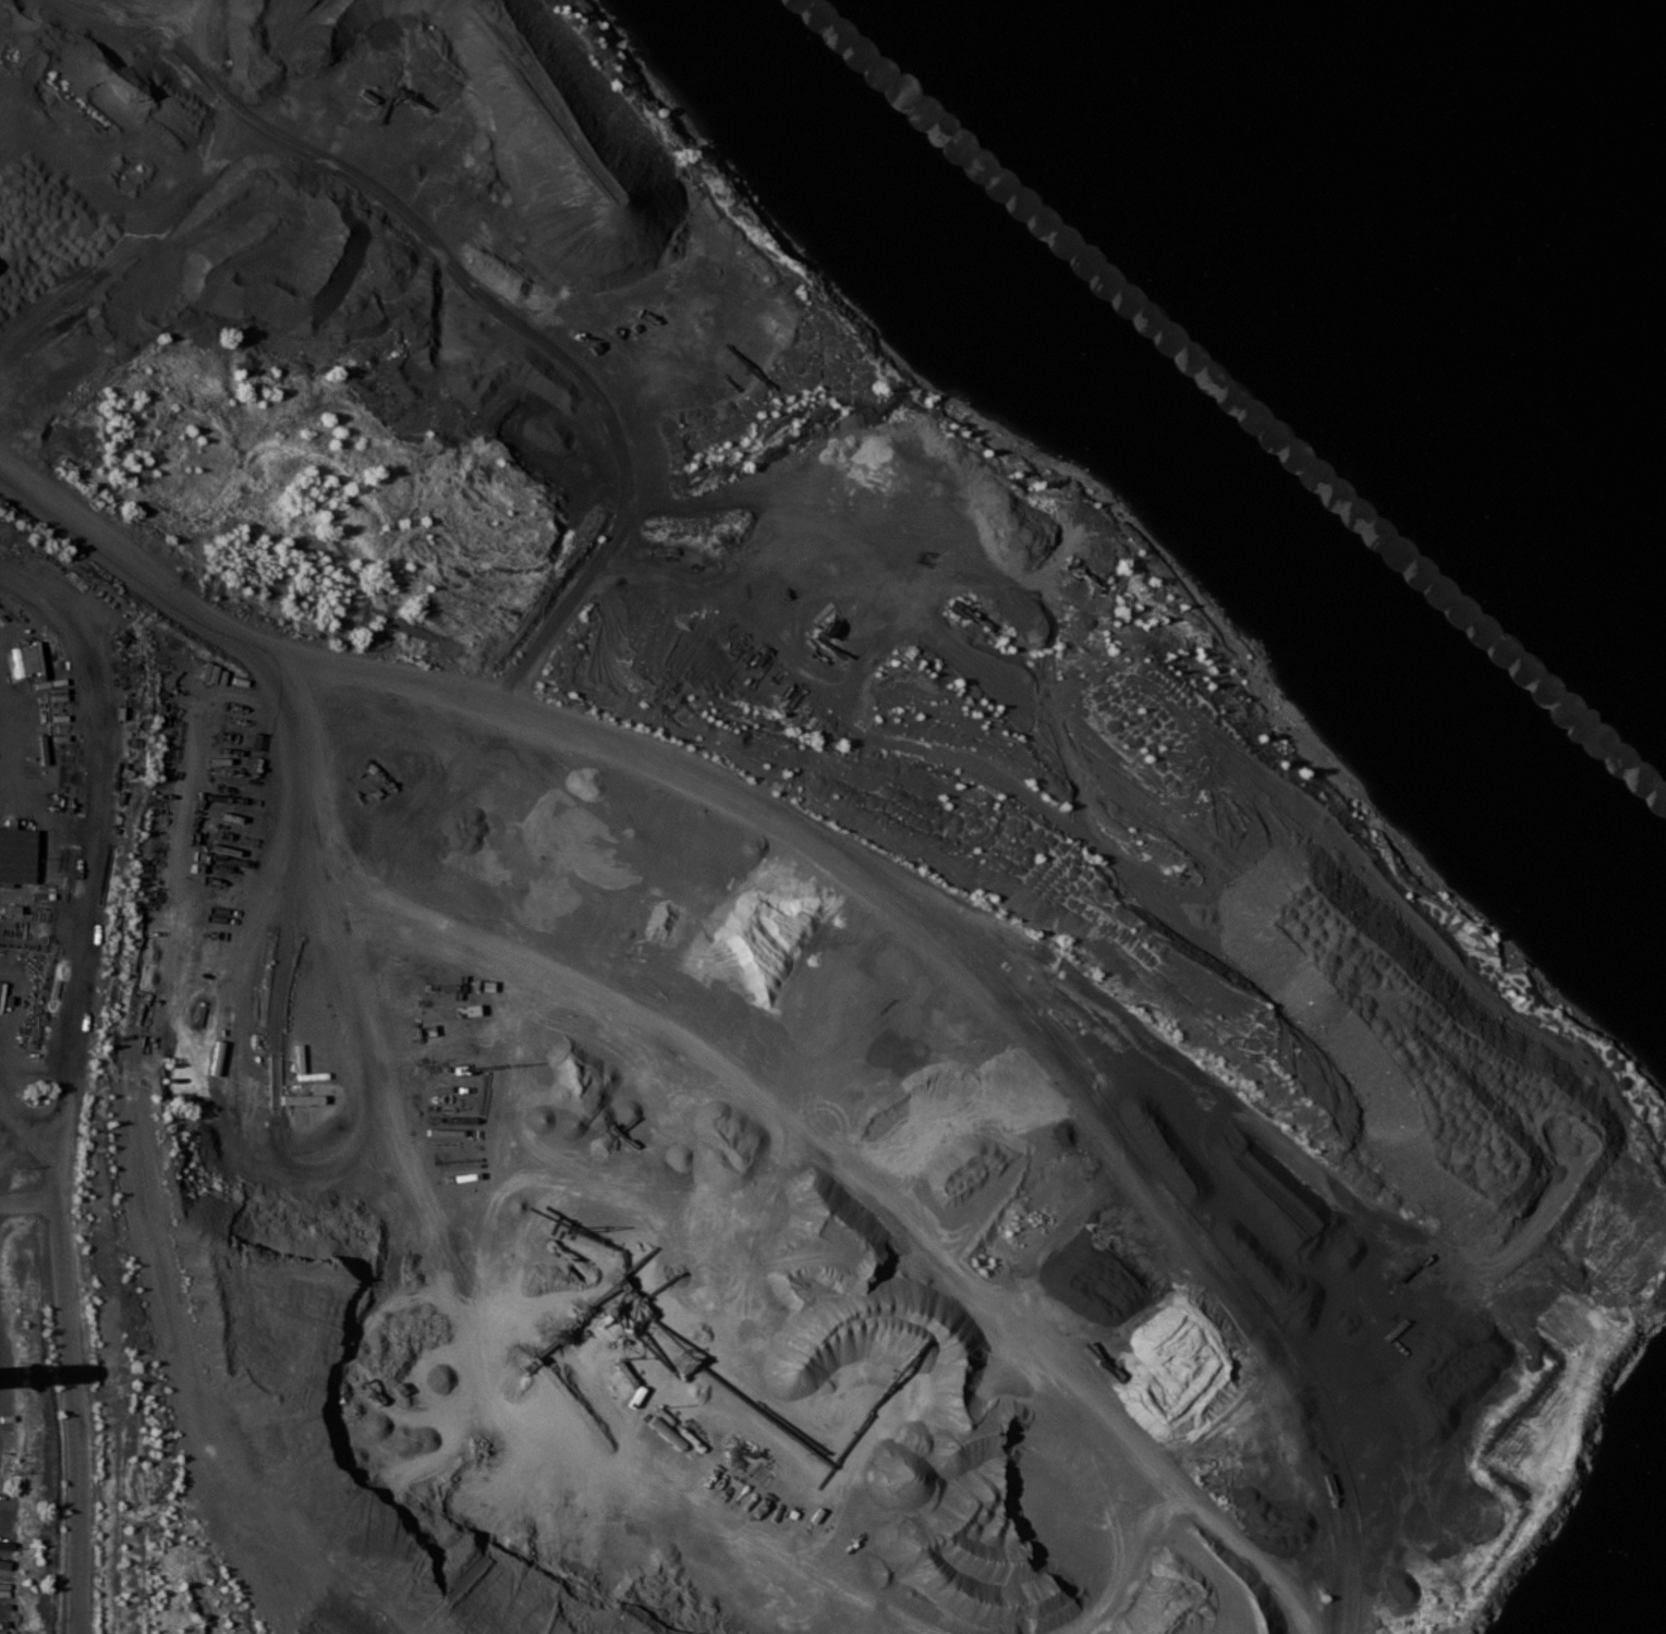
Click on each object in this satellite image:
road: (455, 308)
road: (227, 619)
road: (783, 831)
road: (94, 852)
building: (14, 855)
road: (40, 880)
road: (121, 1028)
building: (290, 1099)
road: (12, 1112)
road: (69, 1357)

